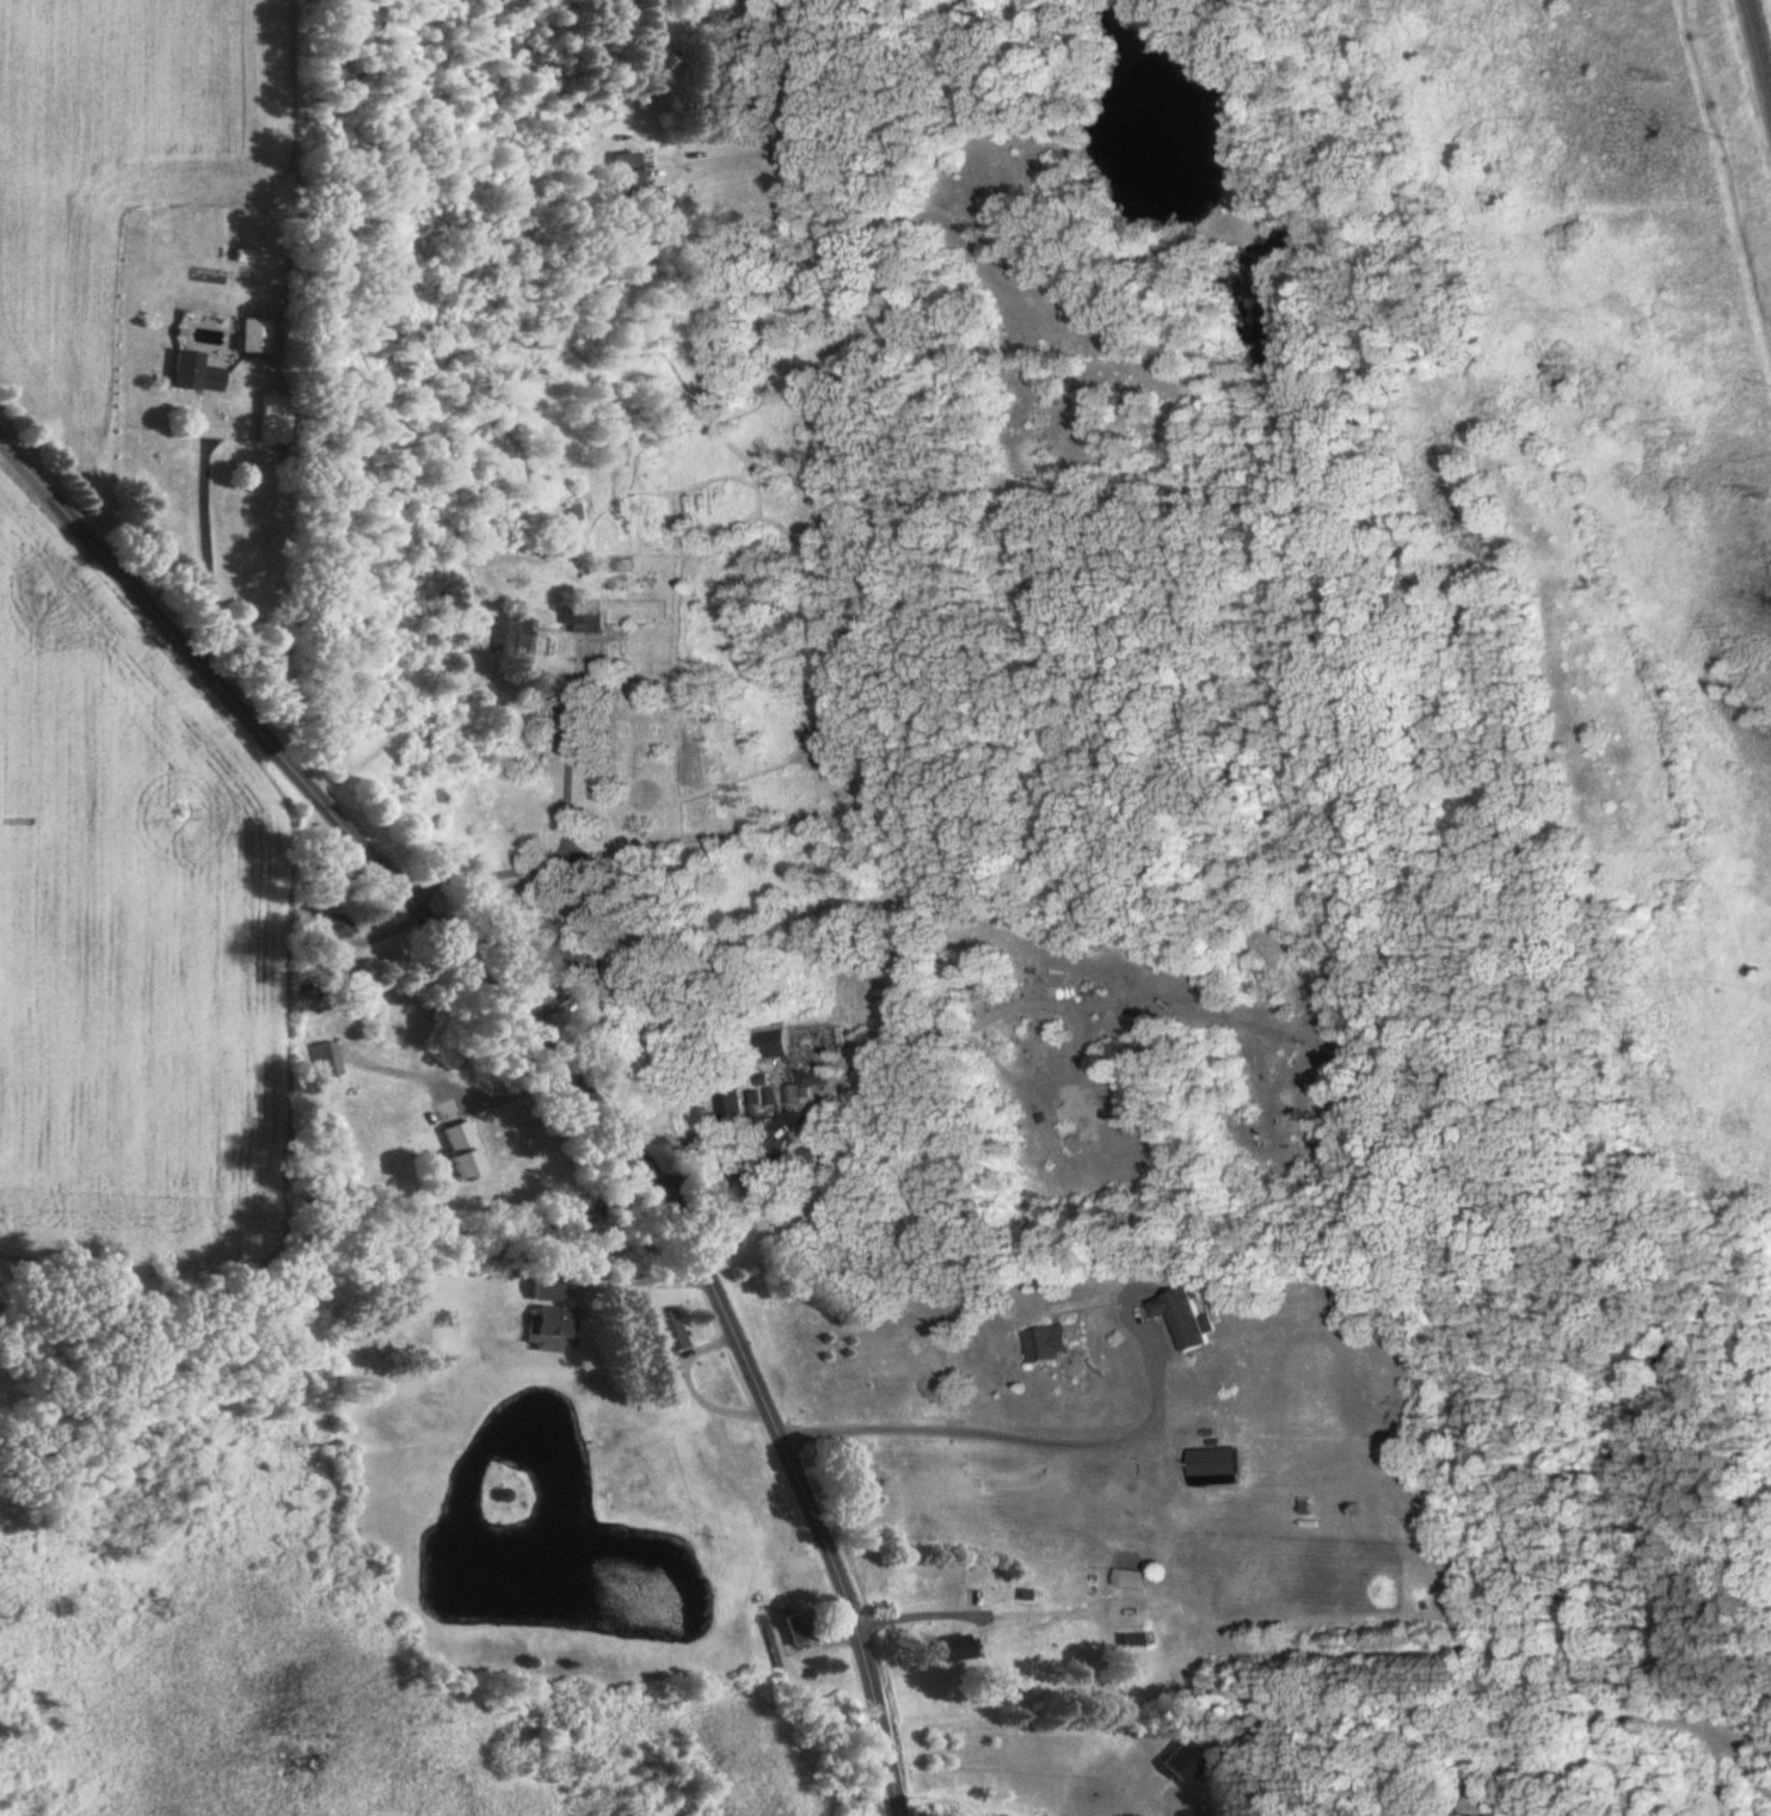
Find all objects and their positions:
railway: (1761, 36)
power tower: (1681, 82)
building: (631, 178)
building: (256, 338)
building: (196, 375)
building: (273, 420)
building: (620, 457)
road: (207, 541)
building: (584, 618)
road: (884, 633)
building: (511, 635)
road: (567, 755)
building: (339, 927)
building: (773, 1045)
building: (330, 1061)
road: (555, 1063)
building: (817, 1078)
building: (794, 1095)
building: (733, 1108)
building: (465, 1151)
building: (754, 1187)
road: (648, 1283)
building: (445, 1321)
building: (1183, 1321)
building: (556, 1323)
building: (671, 1334)
building: (1049, 1346)
road: (1029, 1440)
building: (1213, 1469)
road: (918, 1614)
building: (800, 1629)
building: (958, 1649)
building: (1185, 1762)
road: (1192, 1812)

